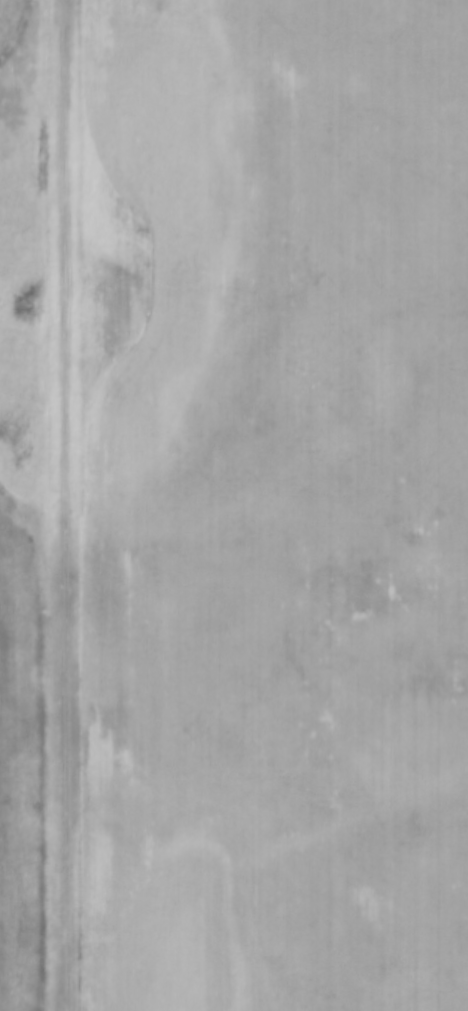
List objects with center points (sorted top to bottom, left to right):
road: (60, 505)

